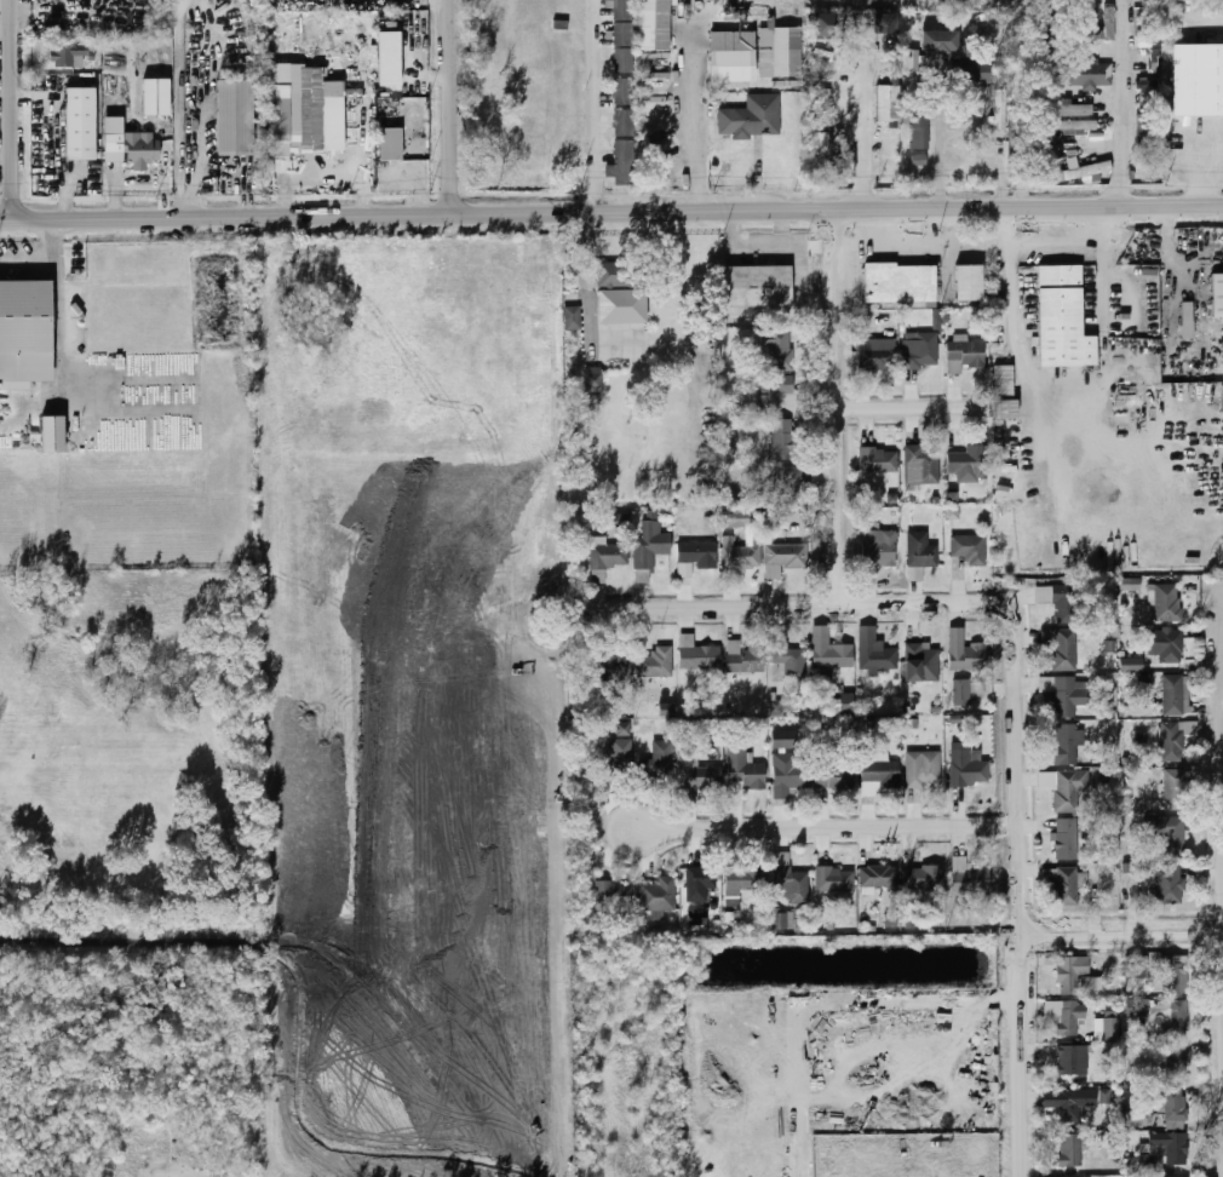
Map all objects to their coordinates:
building: (885, 23)
building: (654, 24)
building: (1045, 24)
building: (823, 25)
building: (1106, 25)
building: (1081, 31)
building: (940, 41)
building: (779, 51)
building: (624, 52)
building: (64, 56)
building: (389, 58)
building: (733, 67)
building: (914, 69)
building: (971, 71)
building: (1198, 80)
building: (156, 96)
building: (1045, 98)
building: (888, 103)
road: (1120, 103)
road: (595, 107)
building: (632, 107)
road: (178, 108)
road: (450, 108)
road: (12, 109)
building: (279, 109)
building: (1073, 110)
building: (997, 114)
building: (235, 117)
building: (752, 117)
building: (333, 124)
building: (81, 125)
building: (113, 125)
road: (694, 125)
building: (825, 125)
building: (1078, 126)
building: (1148, 131)
building: (919, 132)
road: (863, 137)
building: (390, 144)
road: (995, 147)
building: (132, 149)
building: (622, 149)
road: (940, 150)
building: (1045, 159)
building: (918, 160)
building: (842, 167)
building: (1092, 170)
road: (1199, 177)
road: (618, 214)
road: (6, 220)
road: (1006, 225)
road: (1055, 241)
road: (28, 263)
building: (605, 274)
road: (1102, 282)
road: (584, 283)
building: (970, 283)
building: (898, 285)
building: (759, 286)
building: (1217, 295)
building: (620, 305)
building: (573, 317)
building: (1062, 318)
building: (1187, 320)
road: (666, 321)
building: (25, 331)
road: (58, 338)
building: (780, 351)
building: (920, 351)
building: (878, 354)
building: (965, 356)
road: (1021, 357)
building: (1004, 379)
building: (593, 381)
building: (774, 391)
road: (837, 408)
road: (909, 408)
building: (1006, 409)
building: (52, 436)
building: (783, 443)
building: (879, 460)
building: (969, 464)
building: (923, 465)
building: (788, 480)
building: (733, 498)
building: (618, 519)
building: (734, 521)
building: (879, 550)
building: (970, 550)
building: (645, 551)
building: (921, 551)
building: (704, 556)
building: (782, 556)
building: (605, 557)
building: (741, 557)
building: (915, 574)
building: (1130, 584)
building: (1043, 593)
building: (1166, 602)
building: (1067, 604)
road: (808, 607)
building: (1170, 647)
building: (1063, 648)
building: (831, 650)
building: (699, 654)
building: (969, 656)
building: (745, 658)
building: (878, 658)
building: (792, 660)
building: (616, 662)
building: (921, 662)
building: (655, 664)
building: (1131, 664)
building: (969, 690)
building: (1066, 694)
building: (1173, 695)
building: (834, 705)
building: (666, 708)
building: (1108, 710)
building: (620, 729)
building: (1172, 740)
building: (1066, 743)
building: (621, 752)
building: (662, 760)
building: (790, 765)
building: (743, 767)
building: (968, 769)
building: (926, 771)
building: (834, 775)
building: (879, 775)
building: (700, 779)
building: (1072, 791)
building: (1176, 791)
road: (817, 827)
building: (1167, 833)
building: (1067, 839)
building: (971, 875)
building: (878, 877)
building: (924, 877)
building: (836, 879)
building: (745, 882)
building: (701, 884)
building: (793, 884)
building: (1169, 885)
building: (1067, 886)
building: (615, 895)
building: (660, 895)
road: (1022, 907)
building: (696, 917)
building: (782, 920)
road: (1122, 930)
building: (1137, 969)
building: (1072, 974)
building: (1173, 974)
building: (1090, 982)
road: (828, 1000)
building: (1138, 1007)
building: (1067, 1016)
building: (1177, 1020)
building: (1112, 1028)
building: (1137, 1033)
building: (1072, 1060)
building: (1177, 1061)
building: (1103, 1096)
building: (1070, 1102)
building: (1177, 1108)
building: (1170, 1148)
building: (1072, 1149)
building: (1155, 1166)
road: (205, 1175)

